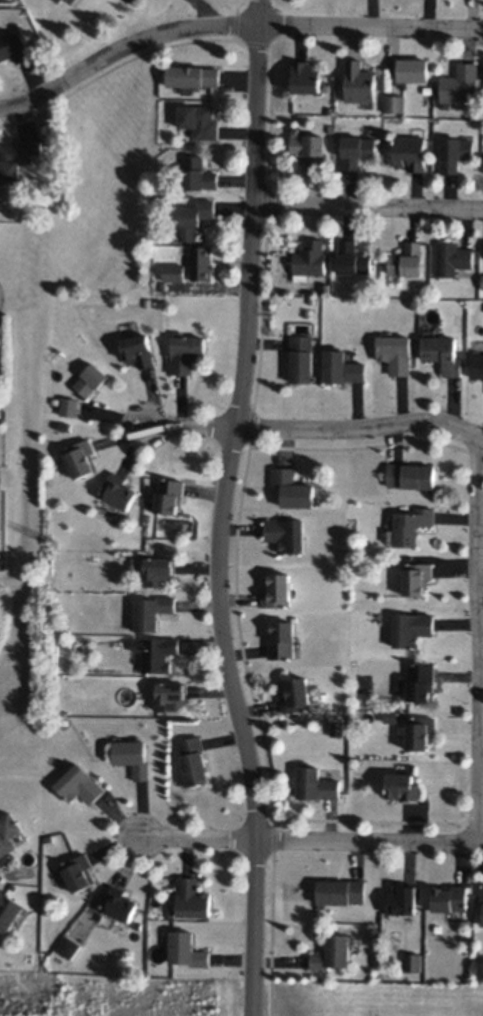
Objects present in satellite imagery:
building: (67, 2)
road: (202, 13)
road: (232, 25)
building: (13, 46)
building: (413, 70)
building: (191, 76)
building: (305, 77)
building: (359, 82)
building: (461, 84)
building: (394, 103)
building: (198, 120)
building: (309, 148)
building: (356, 151)
building: (410, 152)
building: (455, 152)
building: (16, 155)
building: (198, 174)
road: (370, 207)
building: (192, 219)
building: (352, 258)
building: (452, 258)
building: (309, 260)
building: (407, 260)
building: (200, 263)
building: (173, 272)
building: (482, 281)
building: (137, 350)
building: (185, 352)
building: (394, 353)
building: (442, 353)
building: (301, 358)
building: (476, 366)
building: (341, 367)
building: (89, 380)
building: (68, 406)
road: (316, 430)
building: (80, 458)
building: (409, 475)
building: (292, 488)
building: (117, 491)
building: (168, 495)
road: (222, 508)
building: (408, 526)
building: (286, 534)
building: (158, 571)
building: (415, 578)
building: (277, 591)
building: (149, 611)
building: (411, 628)
building: (282, 639)
road: (481, 640)
building: (154, 652)
building: (420, 681)
building: (295, 694)
building: (169, 696)
building: (336, 728)
building: (419, 732)
building: (131, 756)
building: (192, 761)
building: (315, 784)
building: (78, 785)
building: (401, 786)
building: (8, 833)
road: (311, 839)
building: (78, 872)
building: (340, 892)
building: (191, 898)
building: (450, 898)
building: (402, 900)
building: (118, 904)
building: (482, 907)
building: (8, 911)
road: (270, 932)
building: (68, 947)
building: (185, 949)
building: (333, 953)
building: (412, 962)

